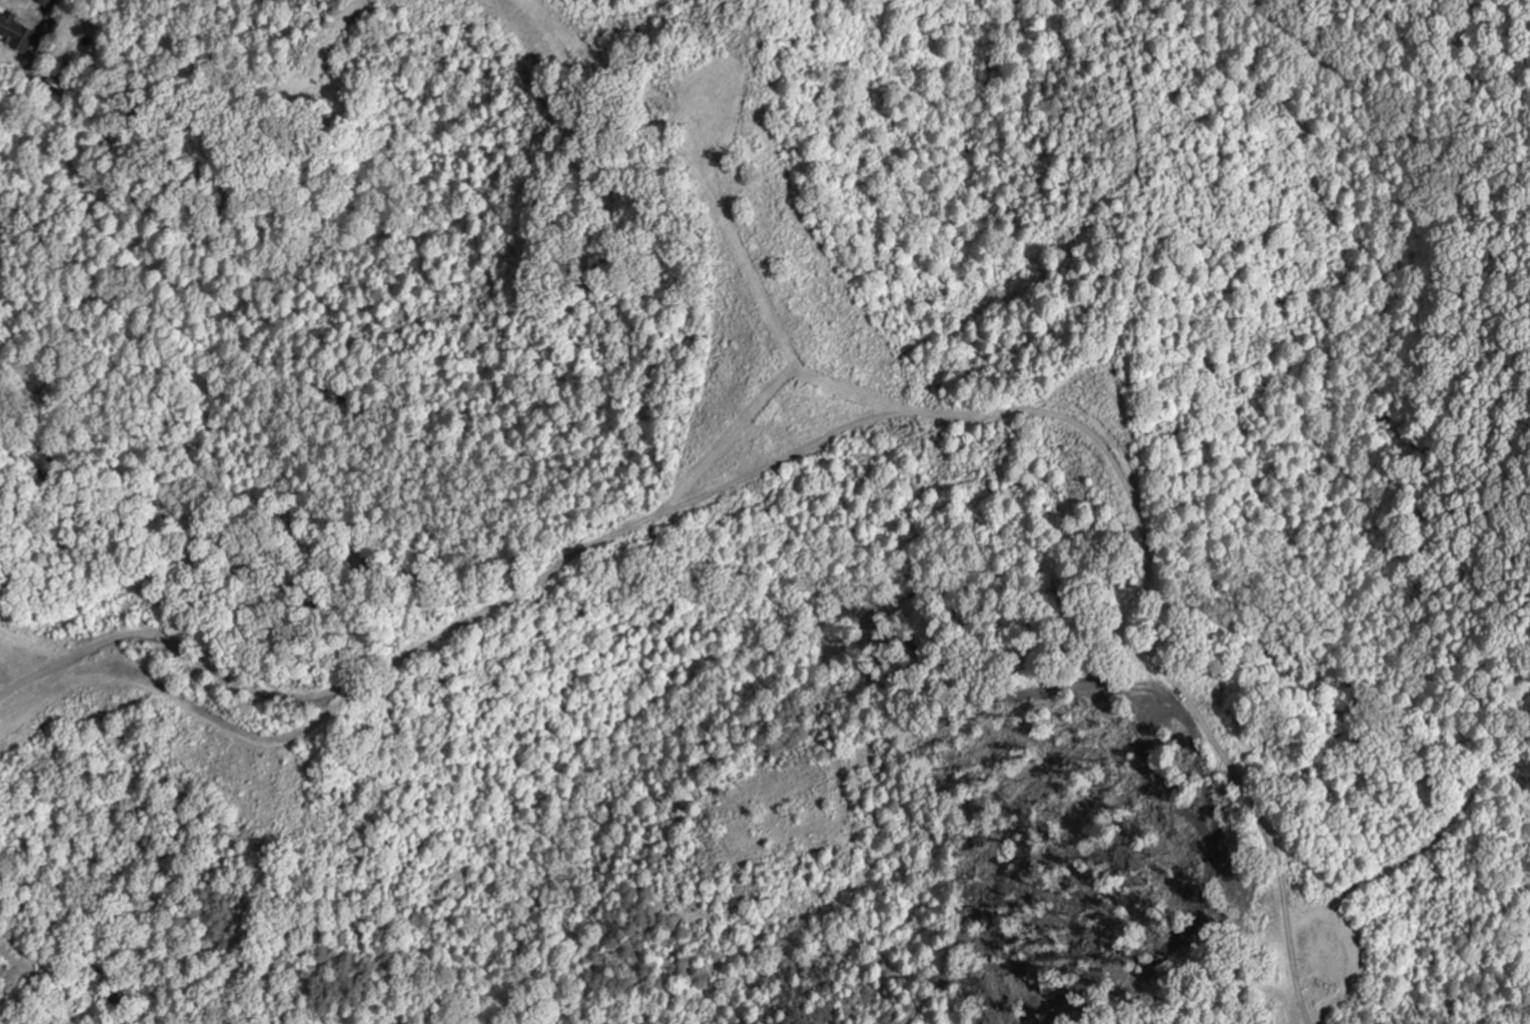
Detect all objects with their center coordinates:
road: (154, 159)

